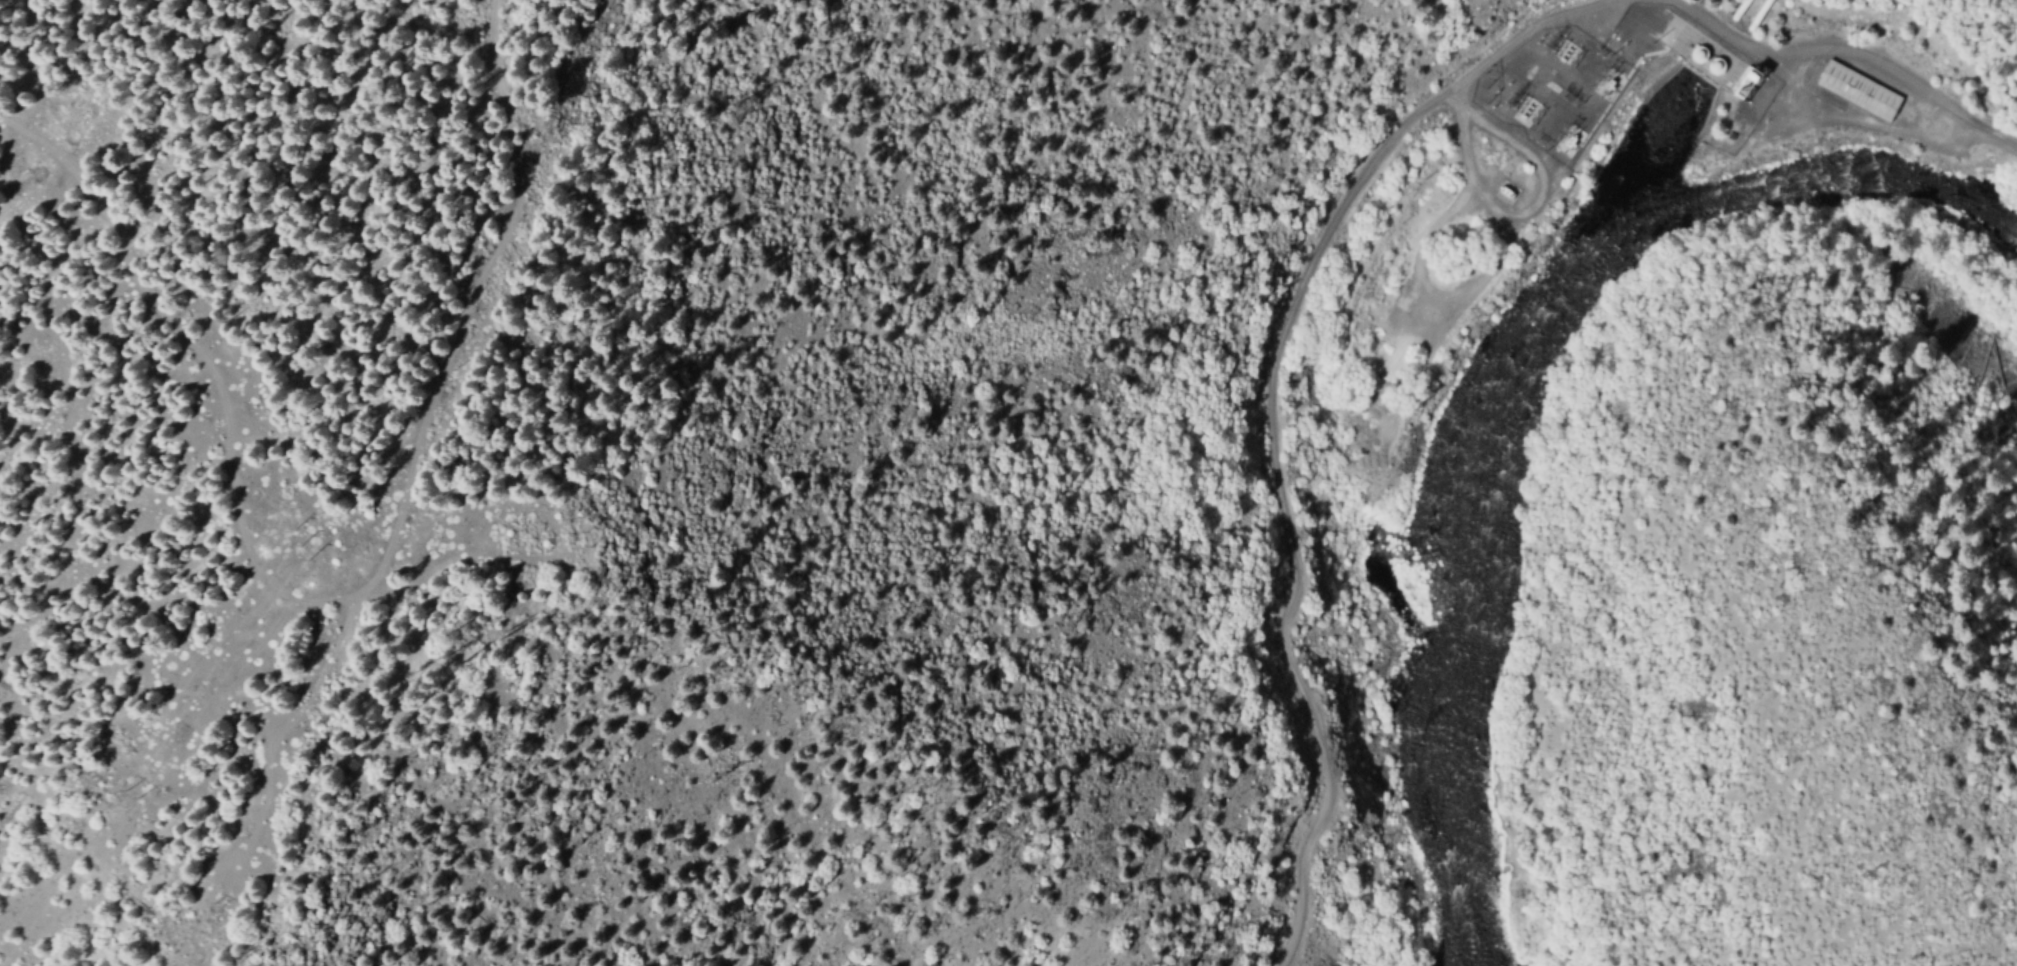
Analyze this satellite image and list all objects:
road: (1851, 51)
building: (1701, 55)
power substation: (1554, 87)
building: (1854, 89)
power tower: (1499, 91)
river: (1513, 371)
power tower: (844, 402)
road: (1271, 416)
power tower: (587, 528)
power tower: (301, 544)
power tower: (136, 789)

